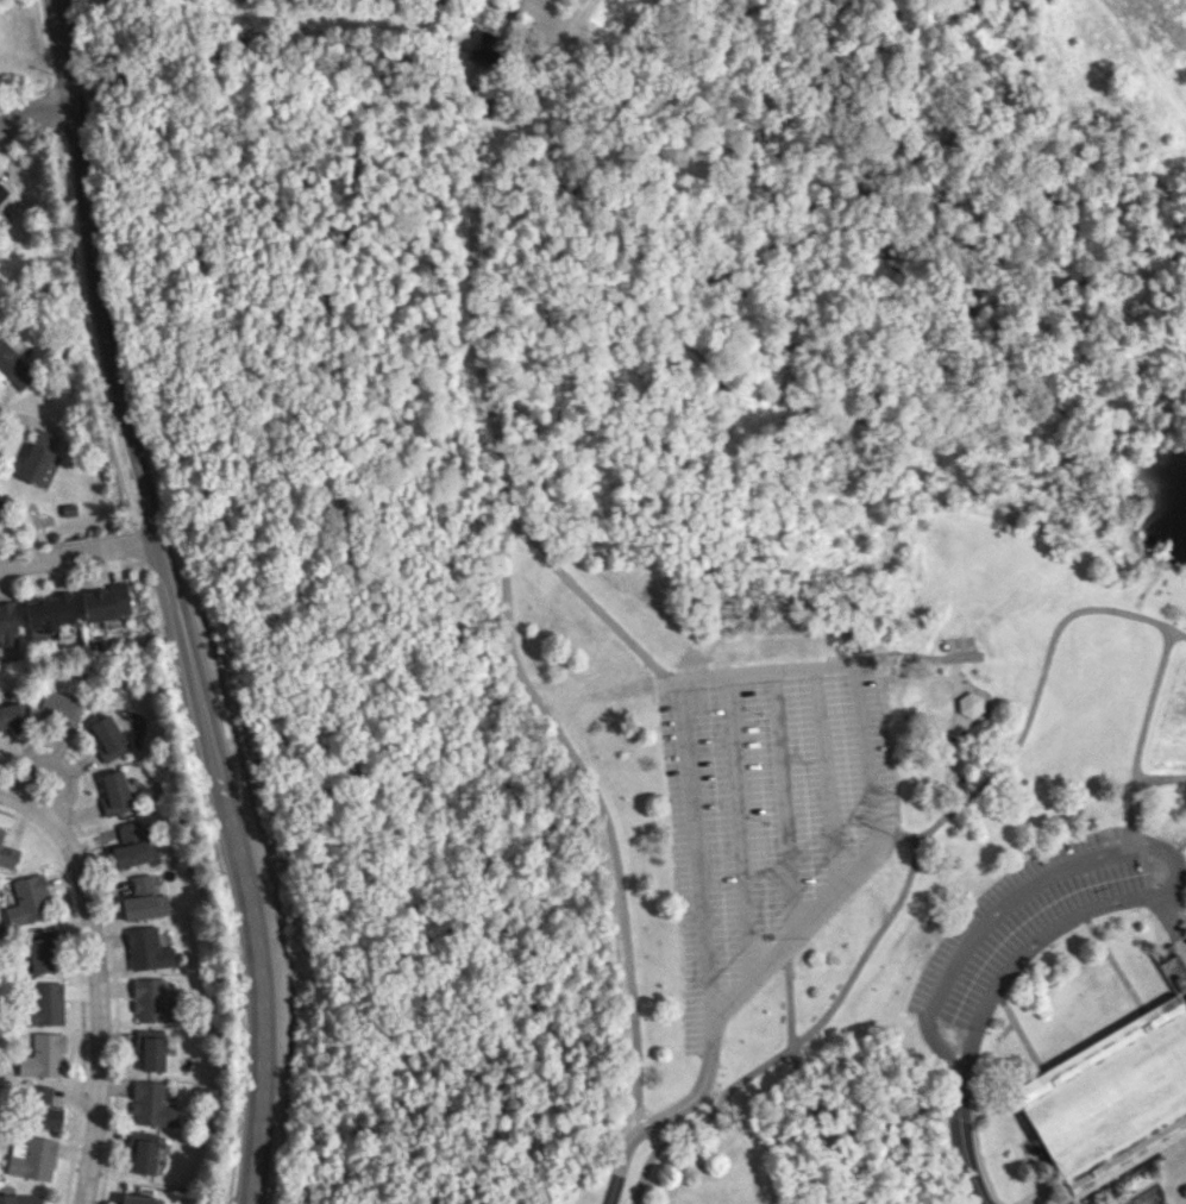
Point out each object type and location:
road: (277, 40)
building: (483, 46)
road: (528, 61)
road: (33, 111)
building: (2, 193)
road: (472, 318)
building: (14, 366)
building: (40, 459)
building: (1, 508)
road: (81, 554)
park: (686, 577)
road: (586, 597)
road: (176, 601)
building: (105, 602)
building: (48, 612)
building: (7, 626)
road: (1178, 634)
road: (802, 669)
road: (1030, 703)
building: (968, 704)
building: (61, 707)
building: (10, 715)
road: (1141, 734)
building: (108, 736)
road: (57, 765)
road: (1160, 779)
road: (823, 780)
building: (115, 792)
road: (597, 802)
road: (782, 803)
parking lot: (764, 817)
road: (738, 832)
road: (1149, 839)
building: (133, 845)
building: (7, 853)
building: (144, 899)
building: (29, 901)
parking lot: (1041, 915)
building: (149, 948)
building: (42, 951)
road: (96, 978)
building: (152, 1001)
building: (44, 1004)
road: (820, 1018)
building: (151, 1048)
building: (44, 1056)
road: (812, 1098)
building: (1111, 1099)
building: (152, 1104)
building: (42, 1108)
road: (959, 1110)
road: (661, 1117)
road: (645, 1124)
road: (961, 1145)
building: (143, 1150)
building: (32, 1158)
road: (980, 1160)
road: (646, 1168)
road: (1174, 1194)
building: (20, 1198)
building: (139, 1199)
parking lot: (964, 1203)

